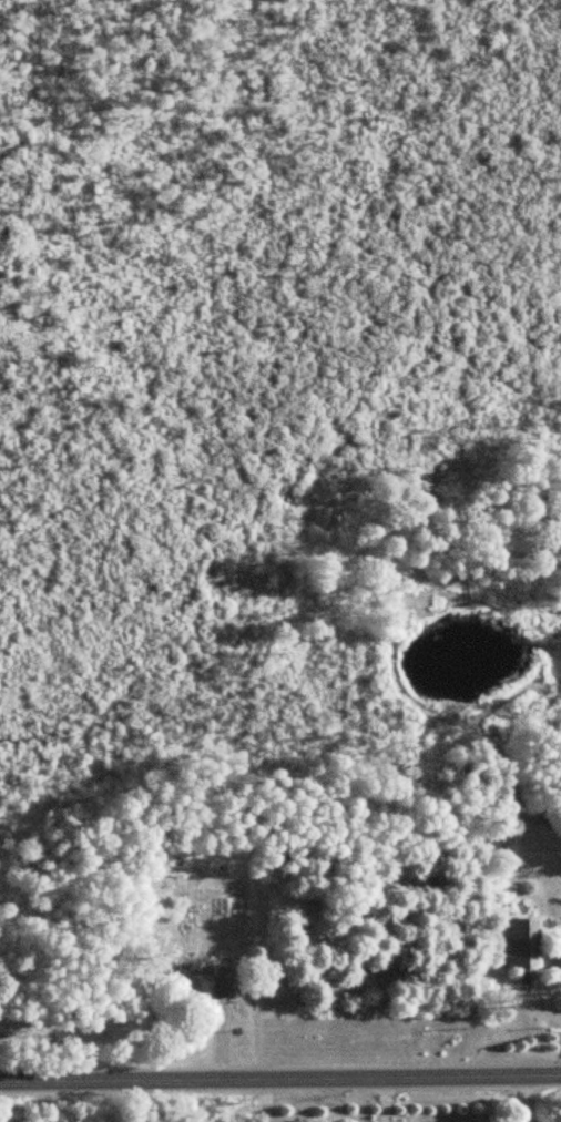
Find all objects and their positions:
building: (521, 942)
building: (207, 986)
road: (280, 1049)

